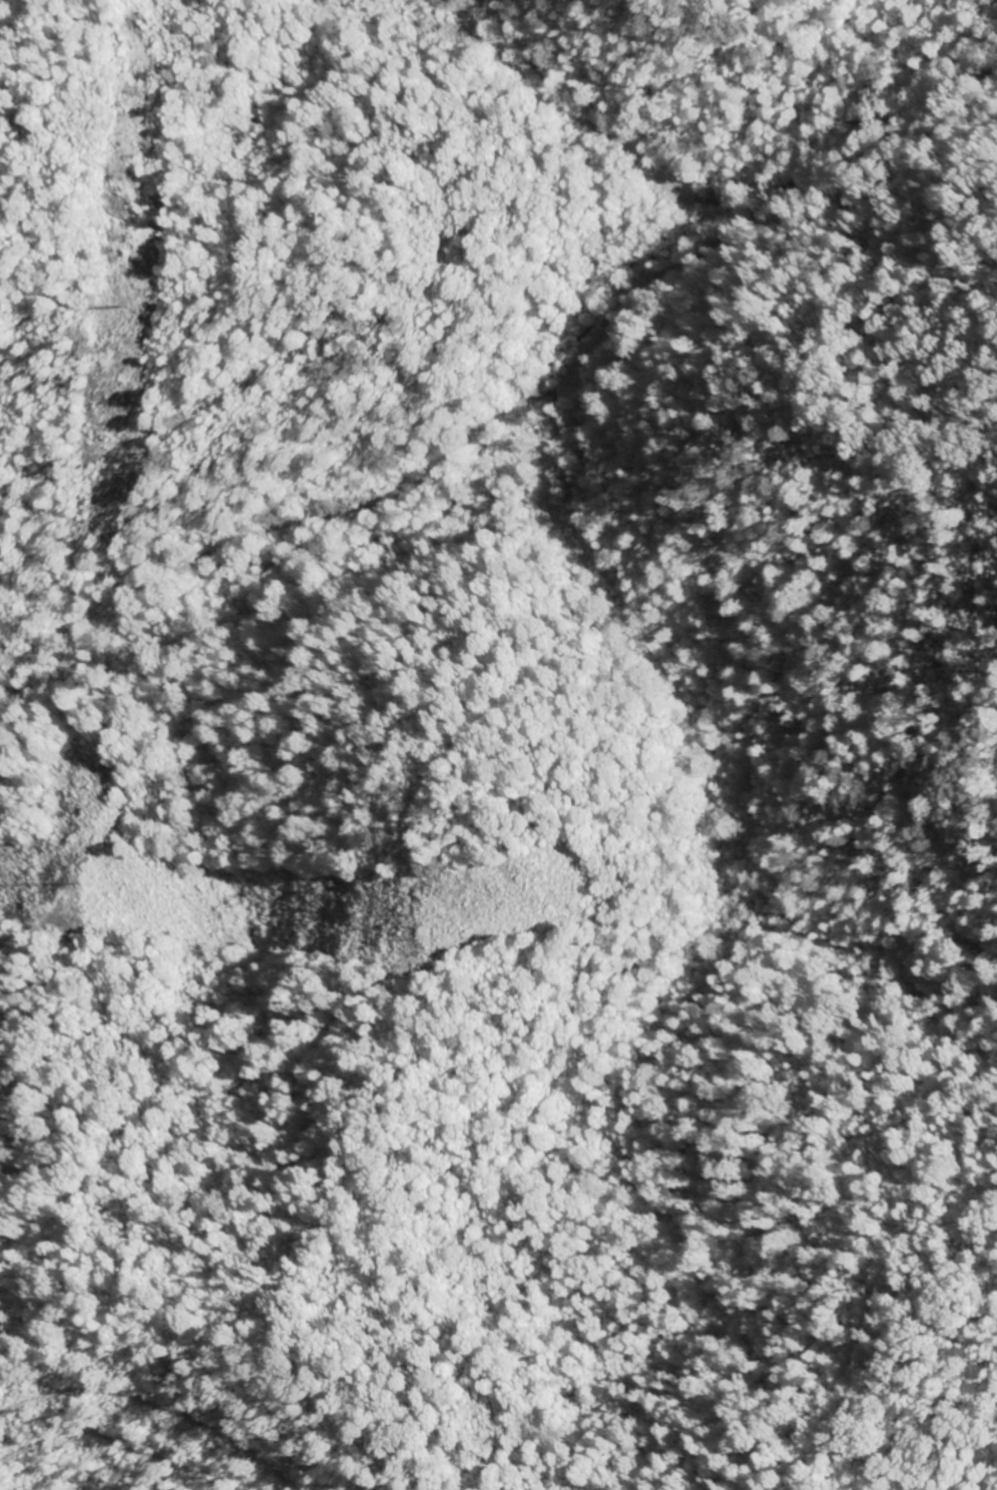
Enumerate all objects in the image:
road: (520, 407)

